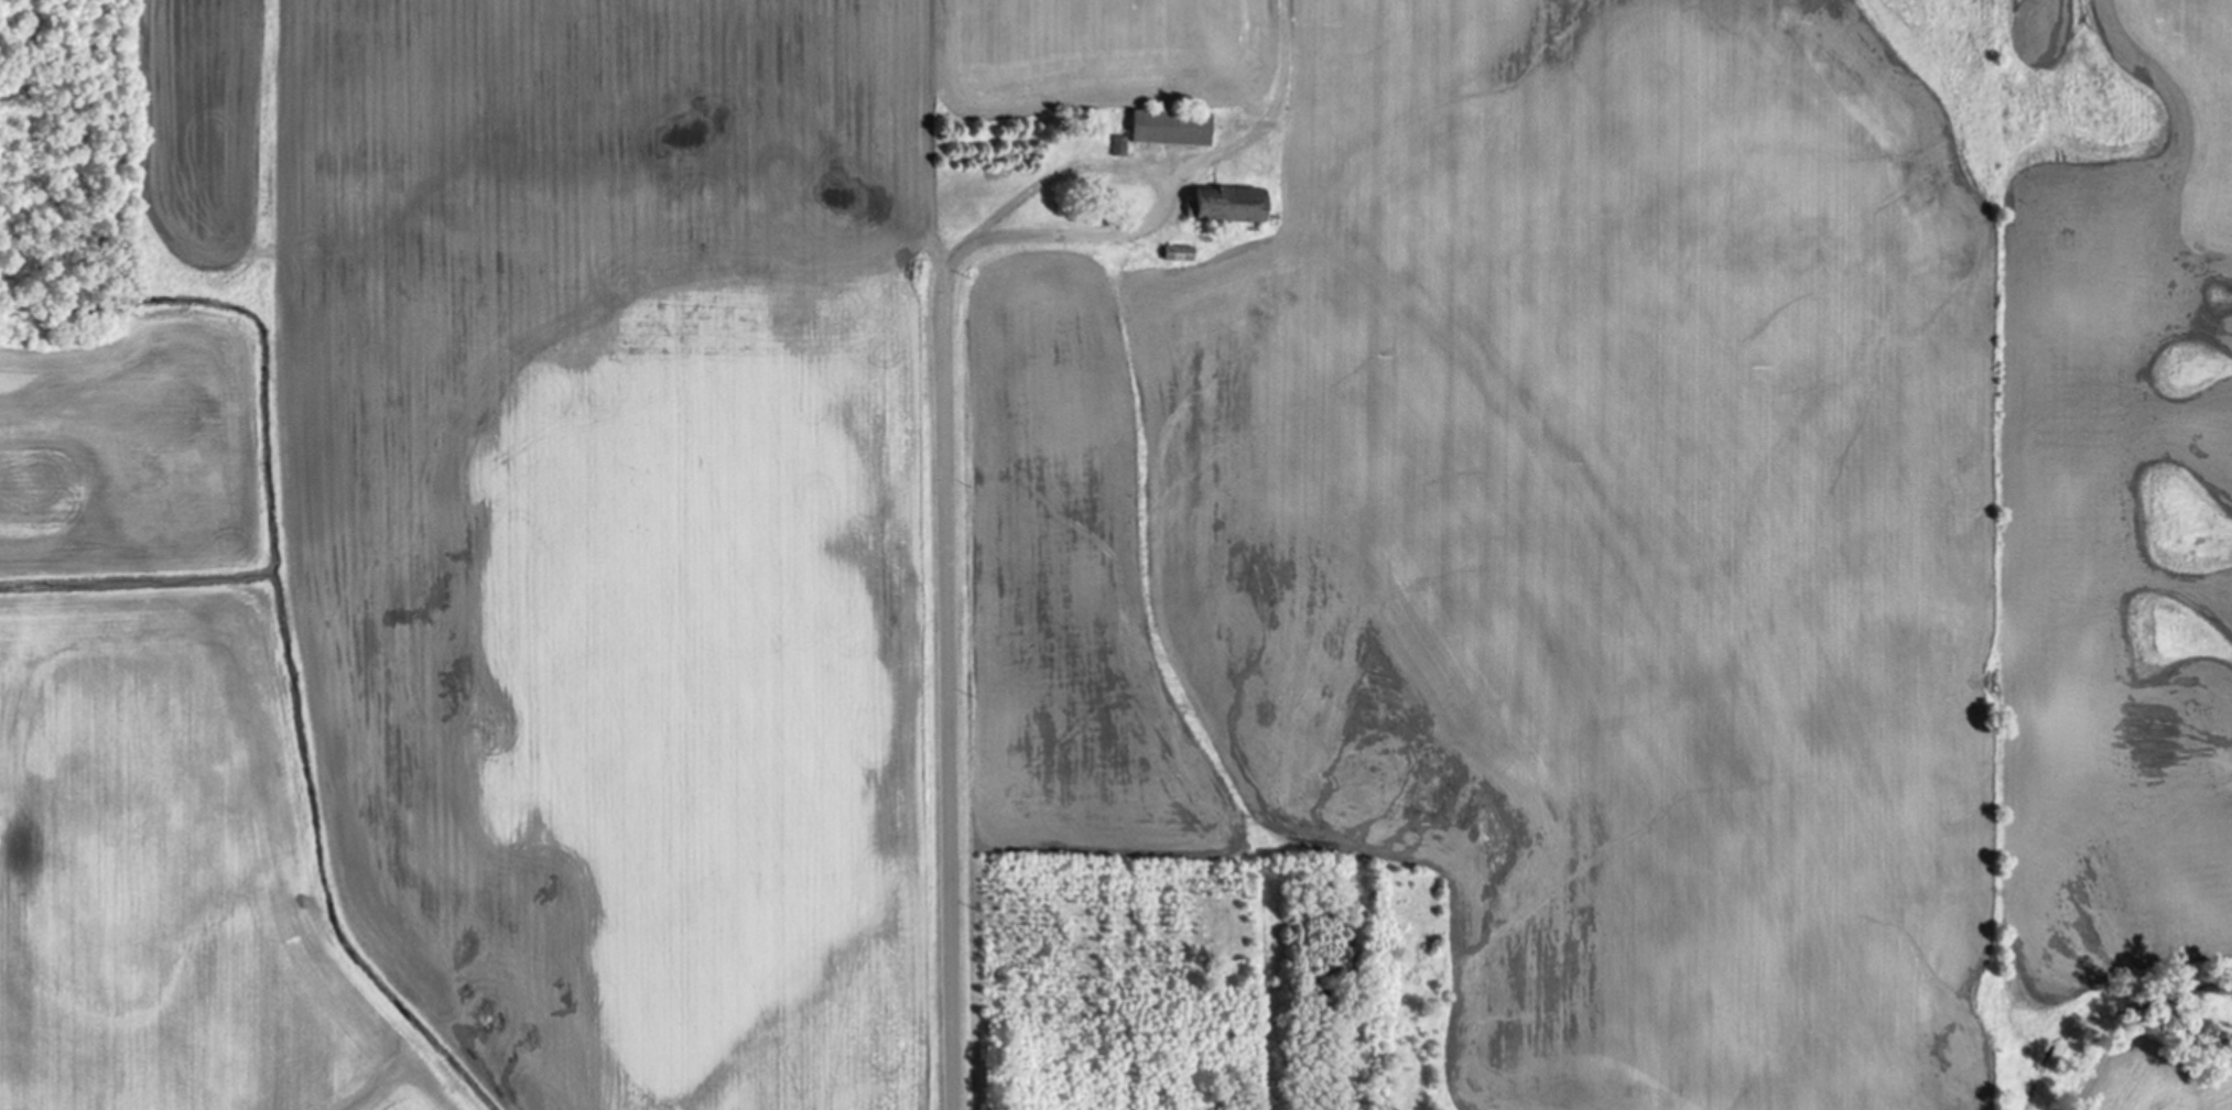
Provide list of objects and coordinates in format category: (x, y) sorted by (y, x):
road: (1278, 108)
building: (1174, 127)
building: (1232, 205)
road: (1140, 226)
building: (1181, 253)
road: (947, 629)

